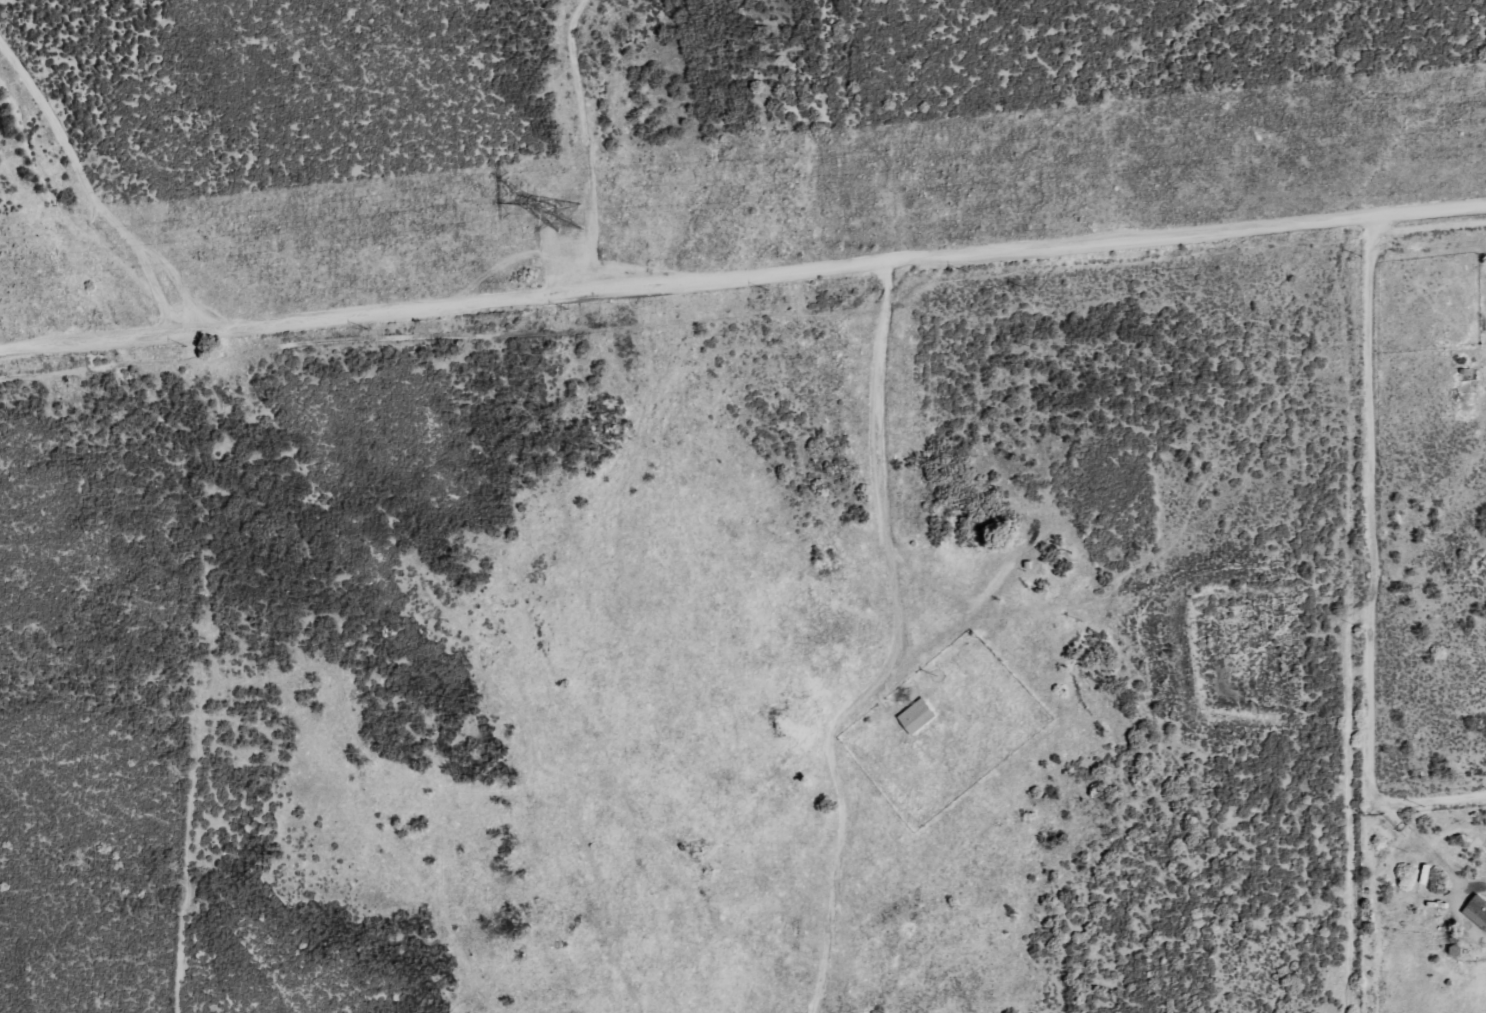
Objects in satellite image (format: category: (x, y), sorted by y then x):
power tower: (570, 216)
road: (743, 283)
road: (895, 455)
building: (915, 716)
building: (1476, 911)

